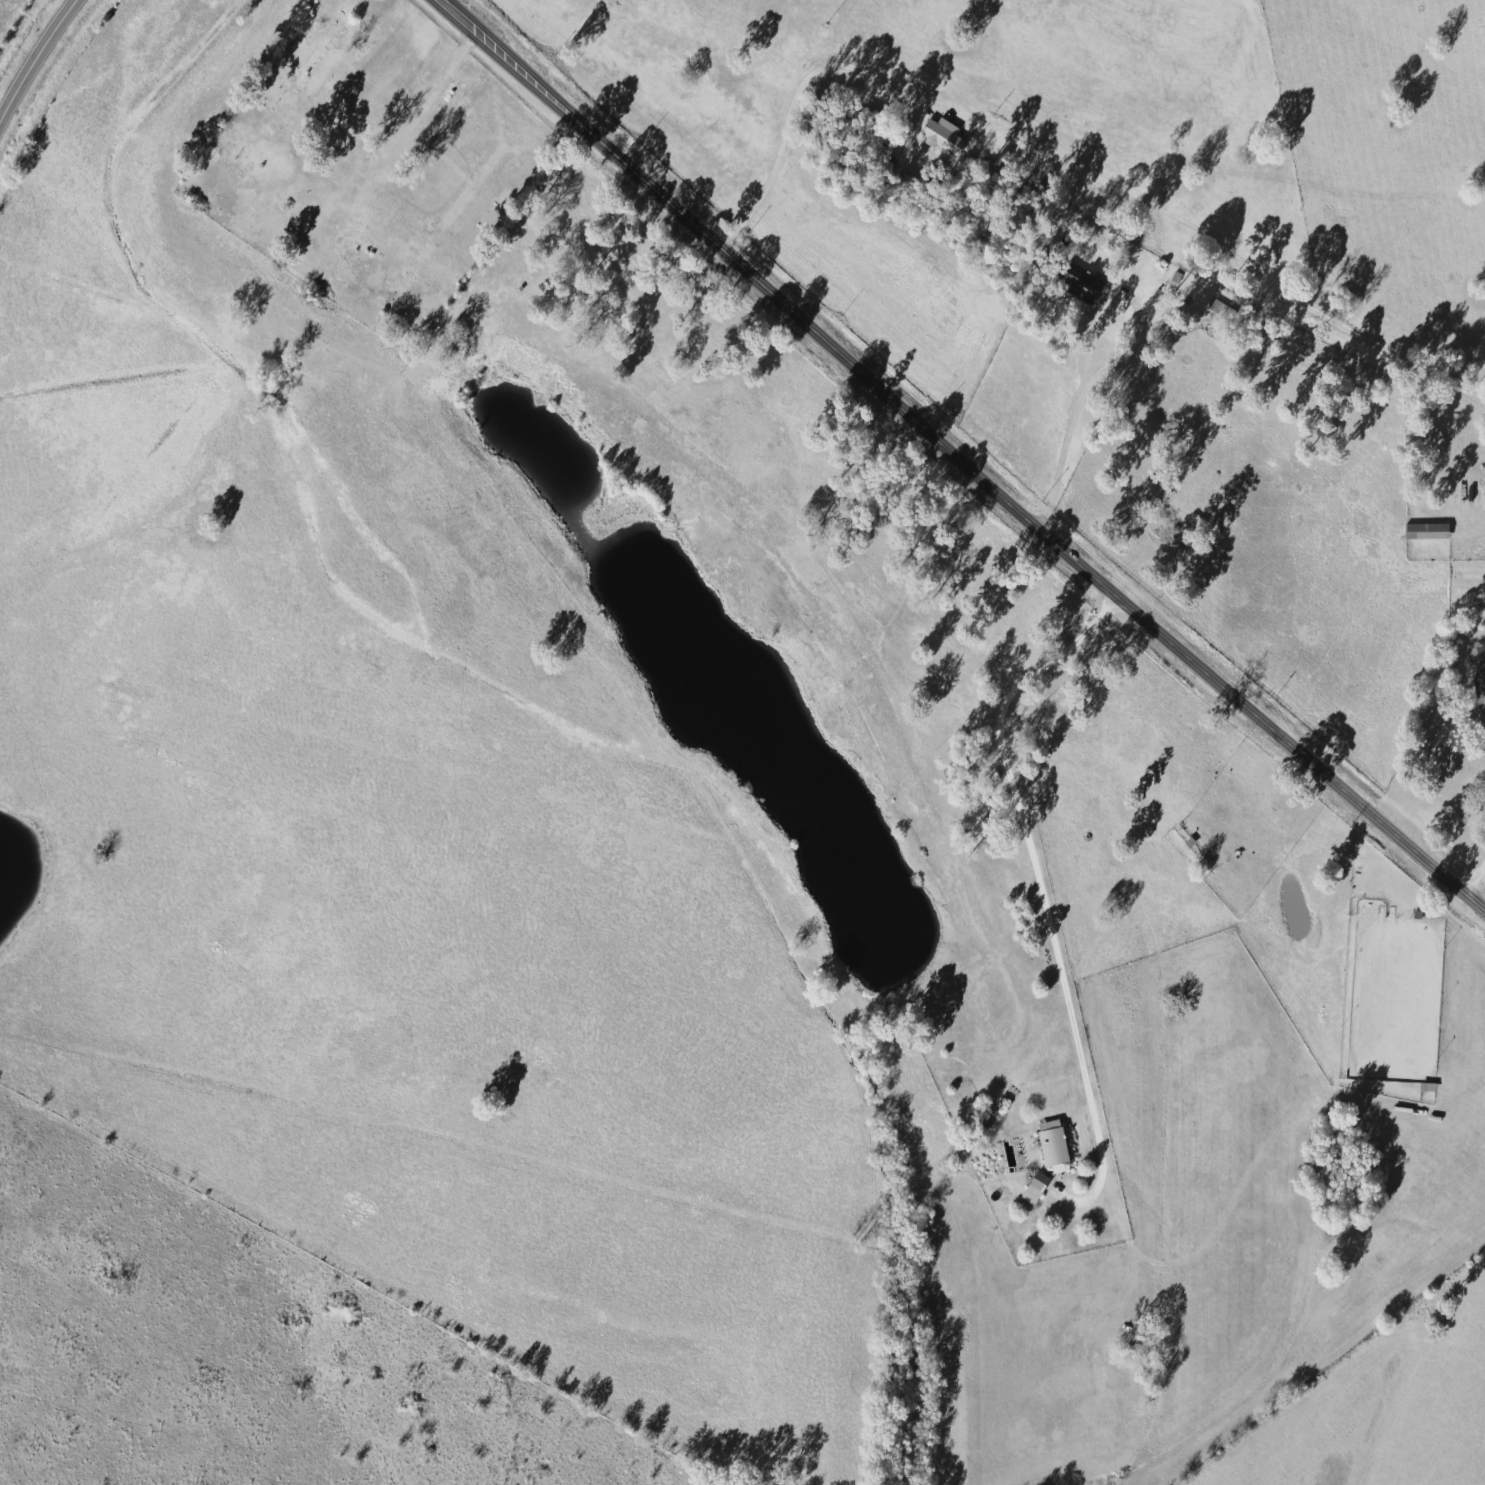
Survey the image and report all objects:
road: (37, 61)
building: (947, 138)
park: (369, 163)
building: (1092, 286)
road: (958, 460)
building: (1431, 530)
building: (1480, 670)
road: (1473, 874)
building: (1057, 1144)
building: (1039, 1188)

